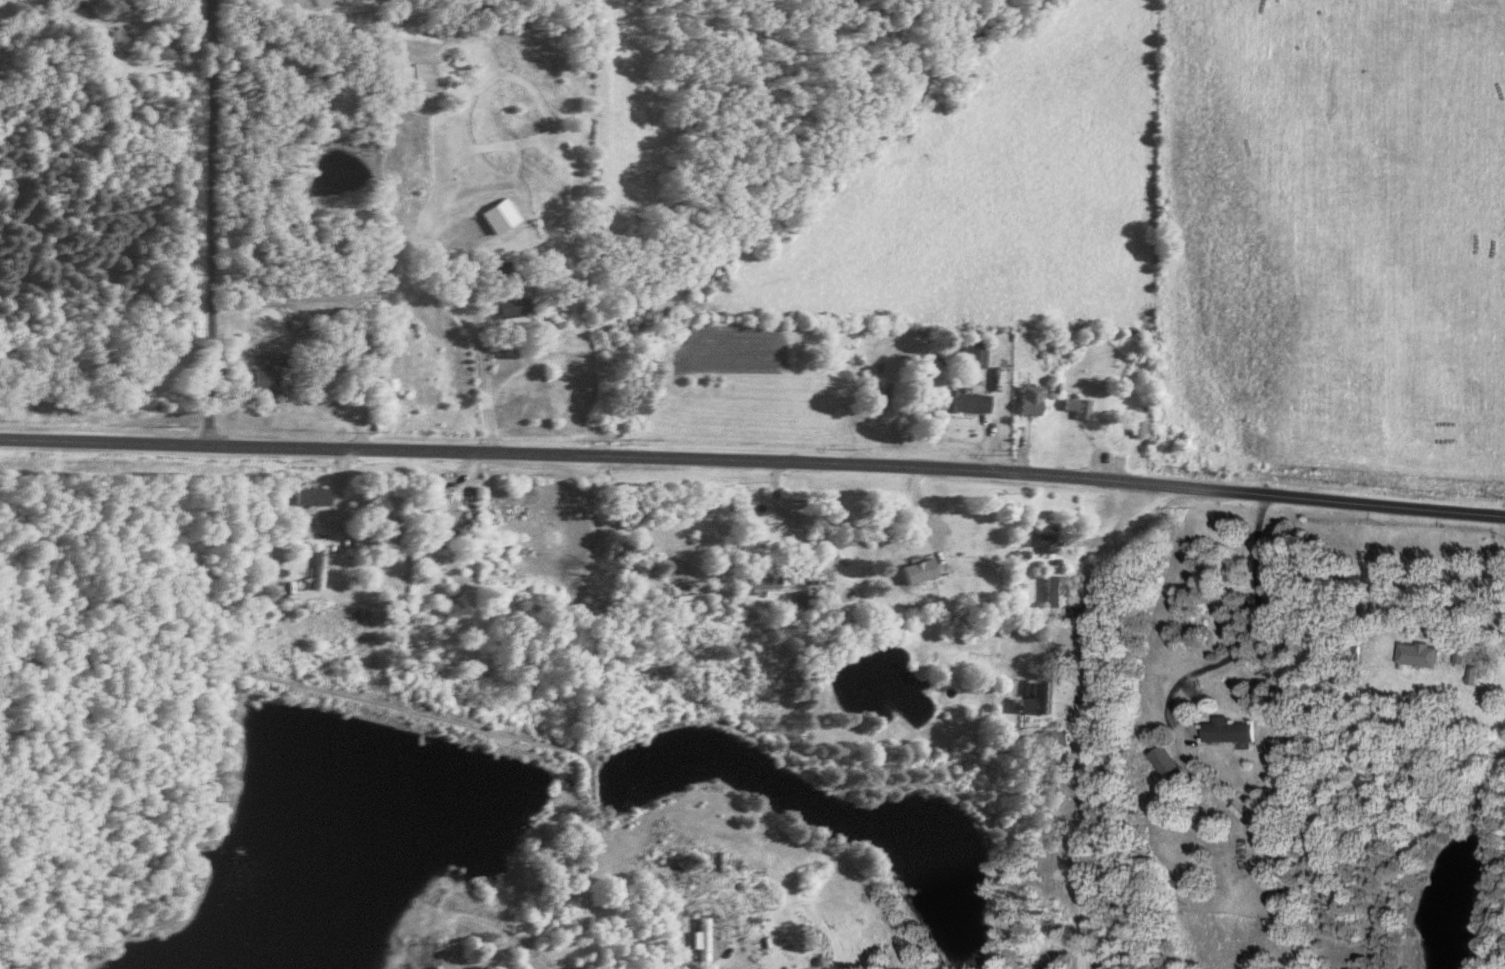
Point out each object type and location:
building: (124, 38)
building: (167, 48)
building: (433, 75)
building: (504, 216)
road: (214, 221)
building: (513, 269)
building: (980, 352)
building: (270, 381)
building: (1036, 399)
building: (972, 400)
road: (328, 405)
building: (1084, 405)
road: (753, 458)
building: (318, 494)
building: (450, 509)
road: (784, 516)
building: (471, 525)
building: (1047, 537)
building: (363, 542)
building: (390, 542)
building: (927, 569)
building: (770, 574)
building: (1060, 590)
building: (697, 598)
building: (807, 599)
road: (1498, 608)
road: (1253, 635)
building: (1425, 654)
building: (1466, 655)
building: (1042, 698)
road: (1086, 716)
building: (1234, 730)
building: (1173, 762)
building: (708, 938)
building: (840, 968)

